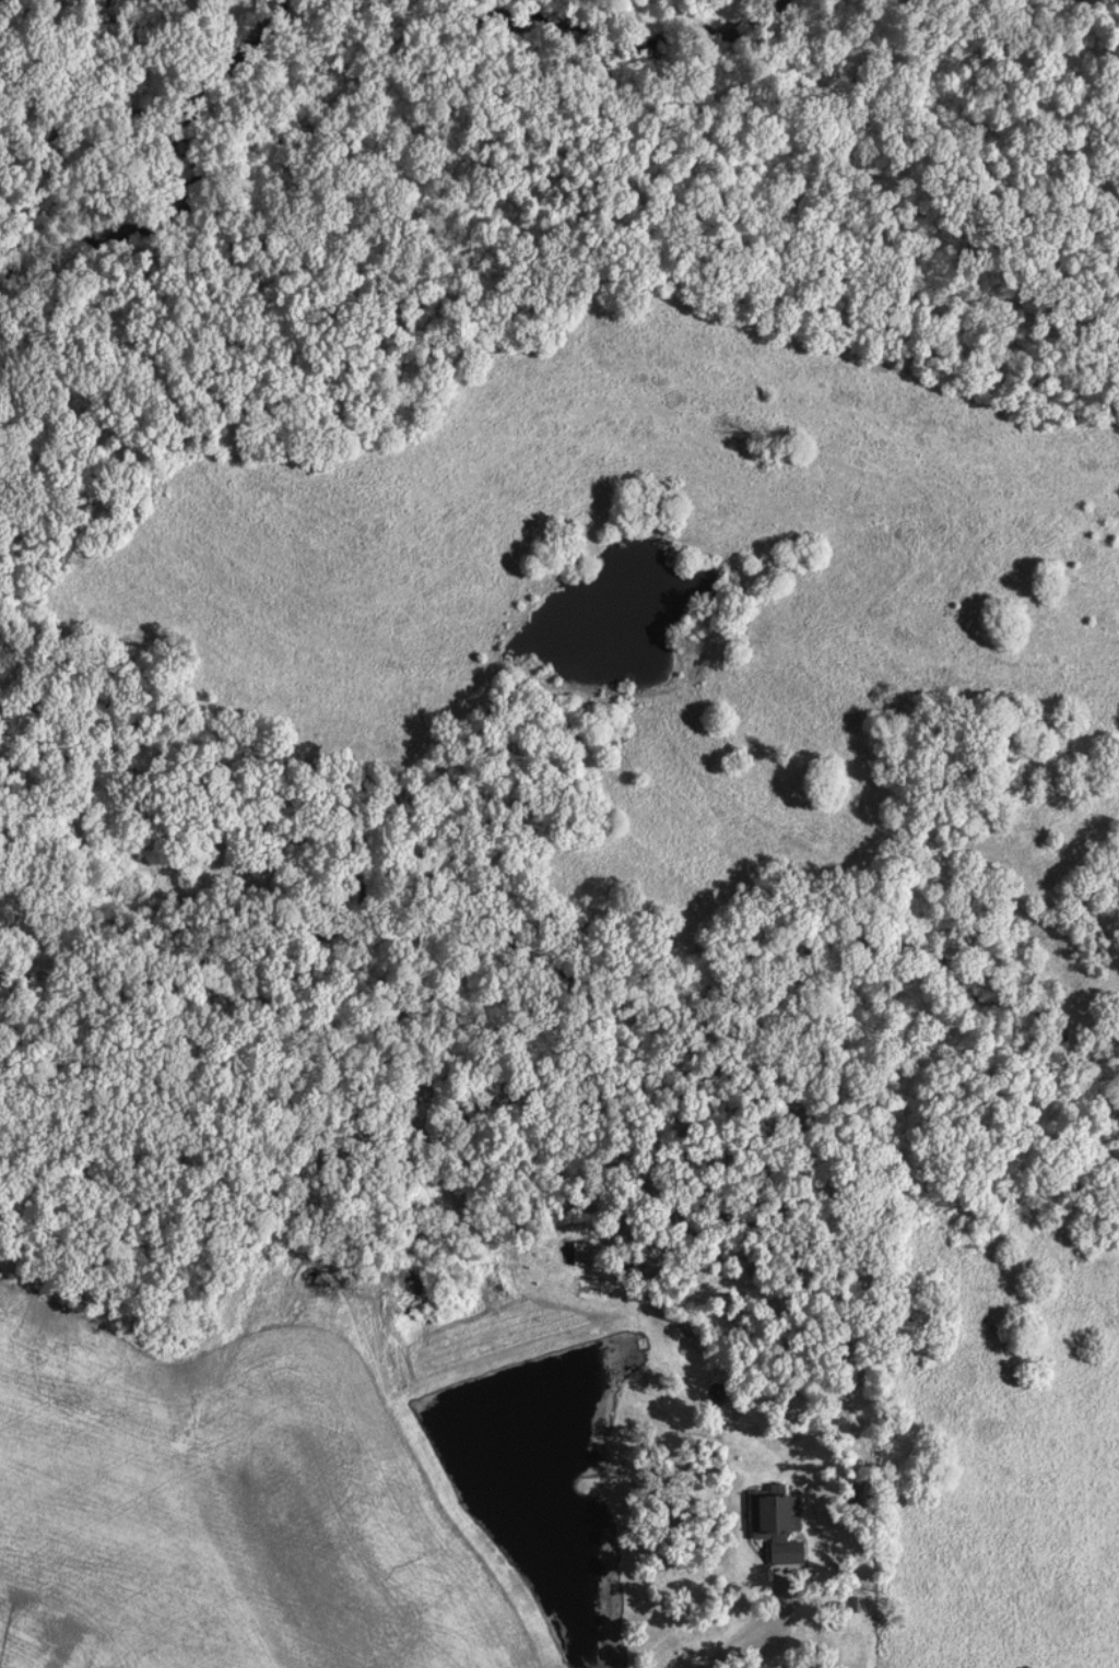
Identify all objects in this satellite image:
building: (773, 1523)
road: (735, 1644)

